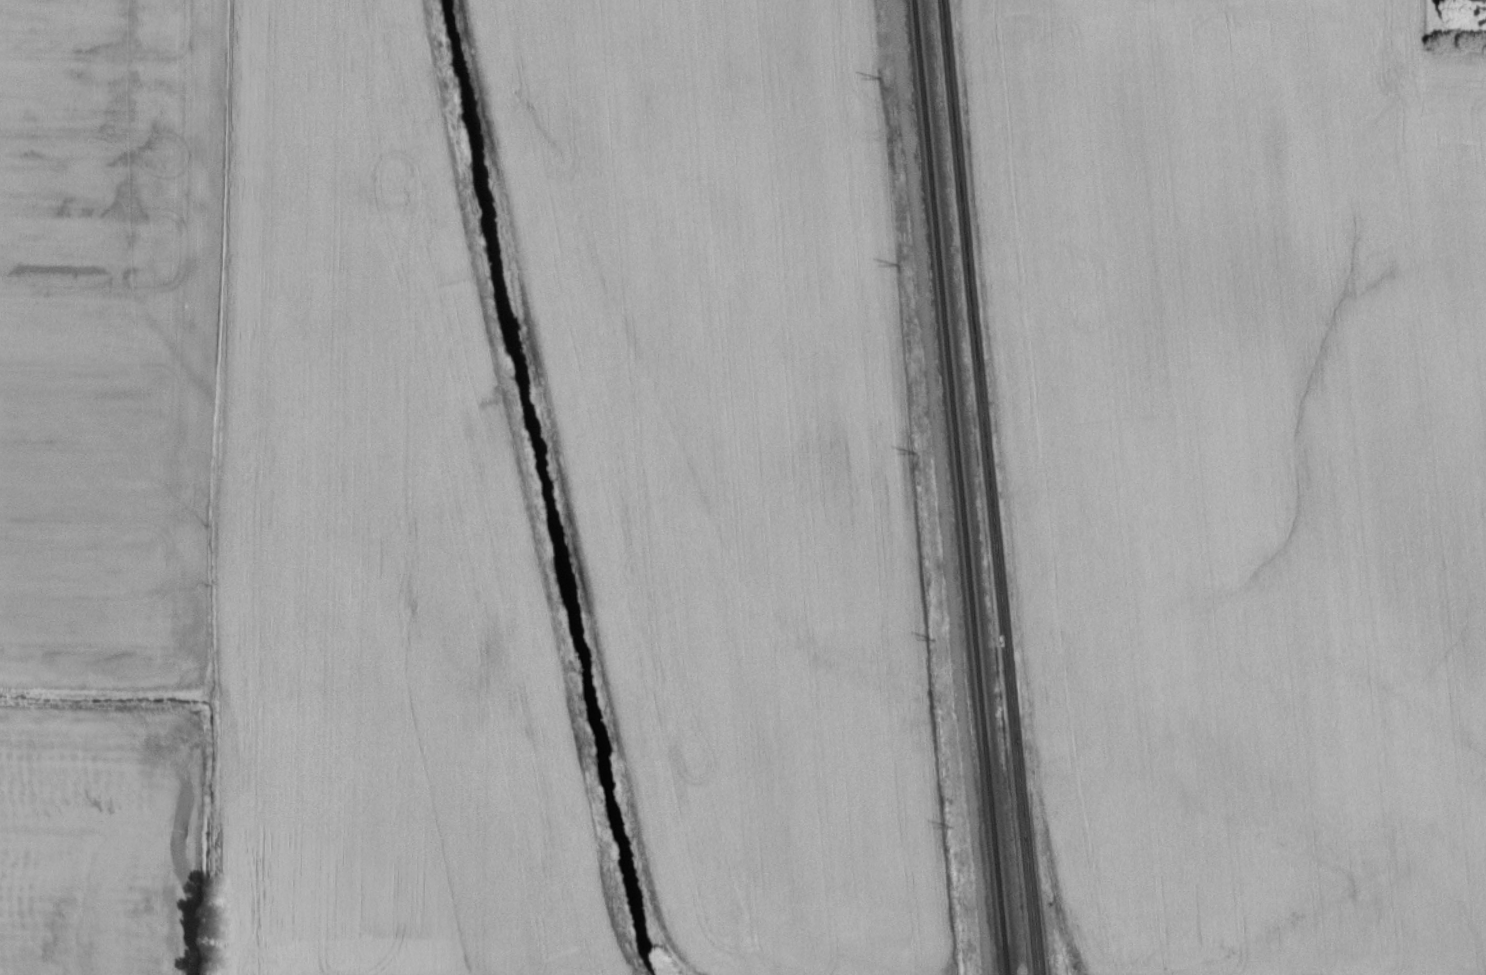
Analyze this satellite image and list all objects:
building: (1479, 0)
railway: (961, 487)
road: (995, 487)

